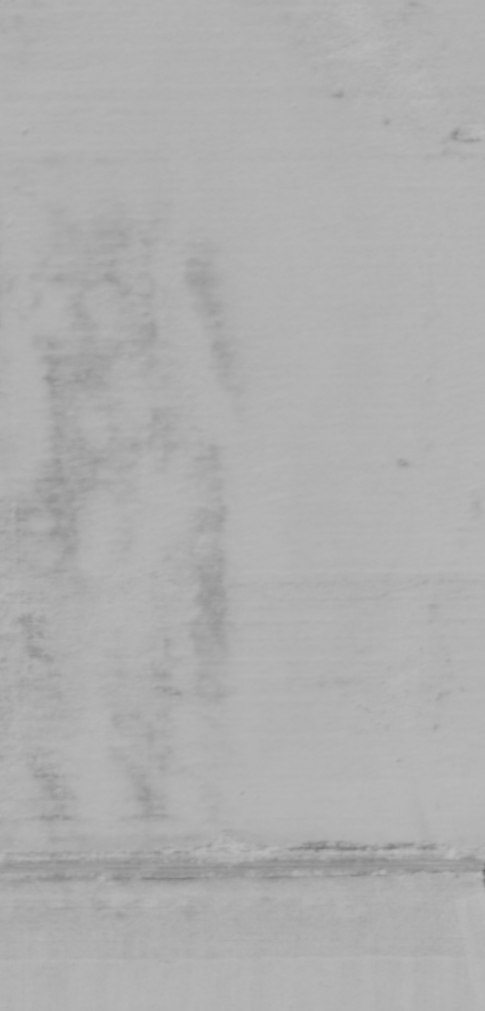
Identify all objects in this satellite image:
crop: (242, 426)
road: (242, 865)
crop: (244, 931)

